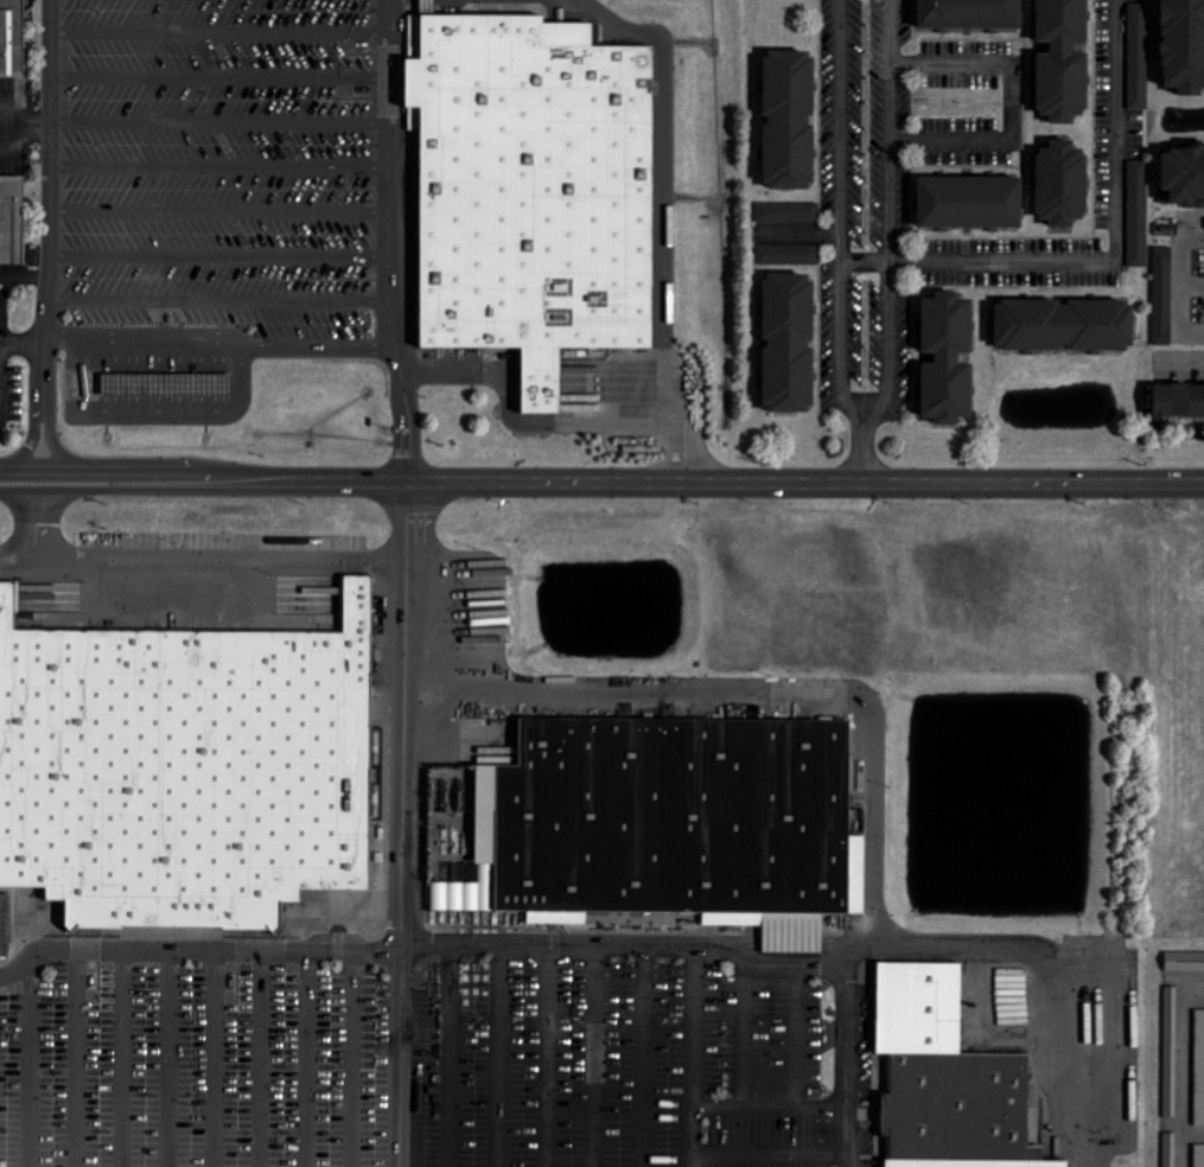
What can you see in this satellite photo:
building: (970, 14)
road: (215, 31)
building: (12, 38)
building: (1179, 45)
building: (1133, 55)
building: (1055, 60)
road: (953, 62)
road: (216, 75)
road: (1013, 102)
road: (20, 119)
building: (790, 120)
road: (216, 121)
road: (1121, 130)
road: (660, 136)
road: (15, 141)
road: (953, 142)
road: (216, 164)
building: (1180, 176)
building: (1063, 184)
building: (527, 191)
road: (46, 202)
building: (972, 203)
road: (217, 210)
building: (789, 212)
building: (1139, 213)
building: (9, 218)
road: (892, 221)
road: (388, 241)
road: (842, 243)
road: (217, 254)
building: (789, 255)
road: (973, 261)
road: (23, 273)
building: (1164, 296)
road: (216, 300)
building: (1065, 325)
road: (4, 334)
road: (215, 337)
road: (24, 338)
road: (4, 343)
building: (789, 343)
building: (948, 358)
road: (1181, 366)
road: (489, 378)
building: (161, 385)
gas station: (161, 385)
building: (1179, 402)
road: (676, 413)
road: (161, 415)
road: (616, 425)
road: (47, 438)
road: (26, 439)
road: (63, 471)
road: (663, 482)
road: (62, 489)
road: (32, 521)
road: (202, 555)
building: (378, 701)
building: (183, 769)
building: (646, 820)
road: (403, 824)
road: (523, 942)
building: (915, 1005)
road: (750, 1035)
road: (790, 1037)
road: (597, 1053)
road: (645, 1053)
road: (696, 1053)
road: (454, 1054)
road: (501, 1054)
road: (550, 1054)
road: (81, 1058)
road: (127, 1059)
road: (174, 1059)
road: (221, 1059)
road: (265, 1059)
road: (310, 1059)
road: (352, 1059)
road: (36, 1064)
parking lot: (412, 1064)
building: (1199, 1069)
road: (1183, 1071)
building: (954, 1104)
road: (771, 1115)
building: (1171, 1149)
road: (772, 1154)
building: (1199, 1155)
building: (969, 1162)

